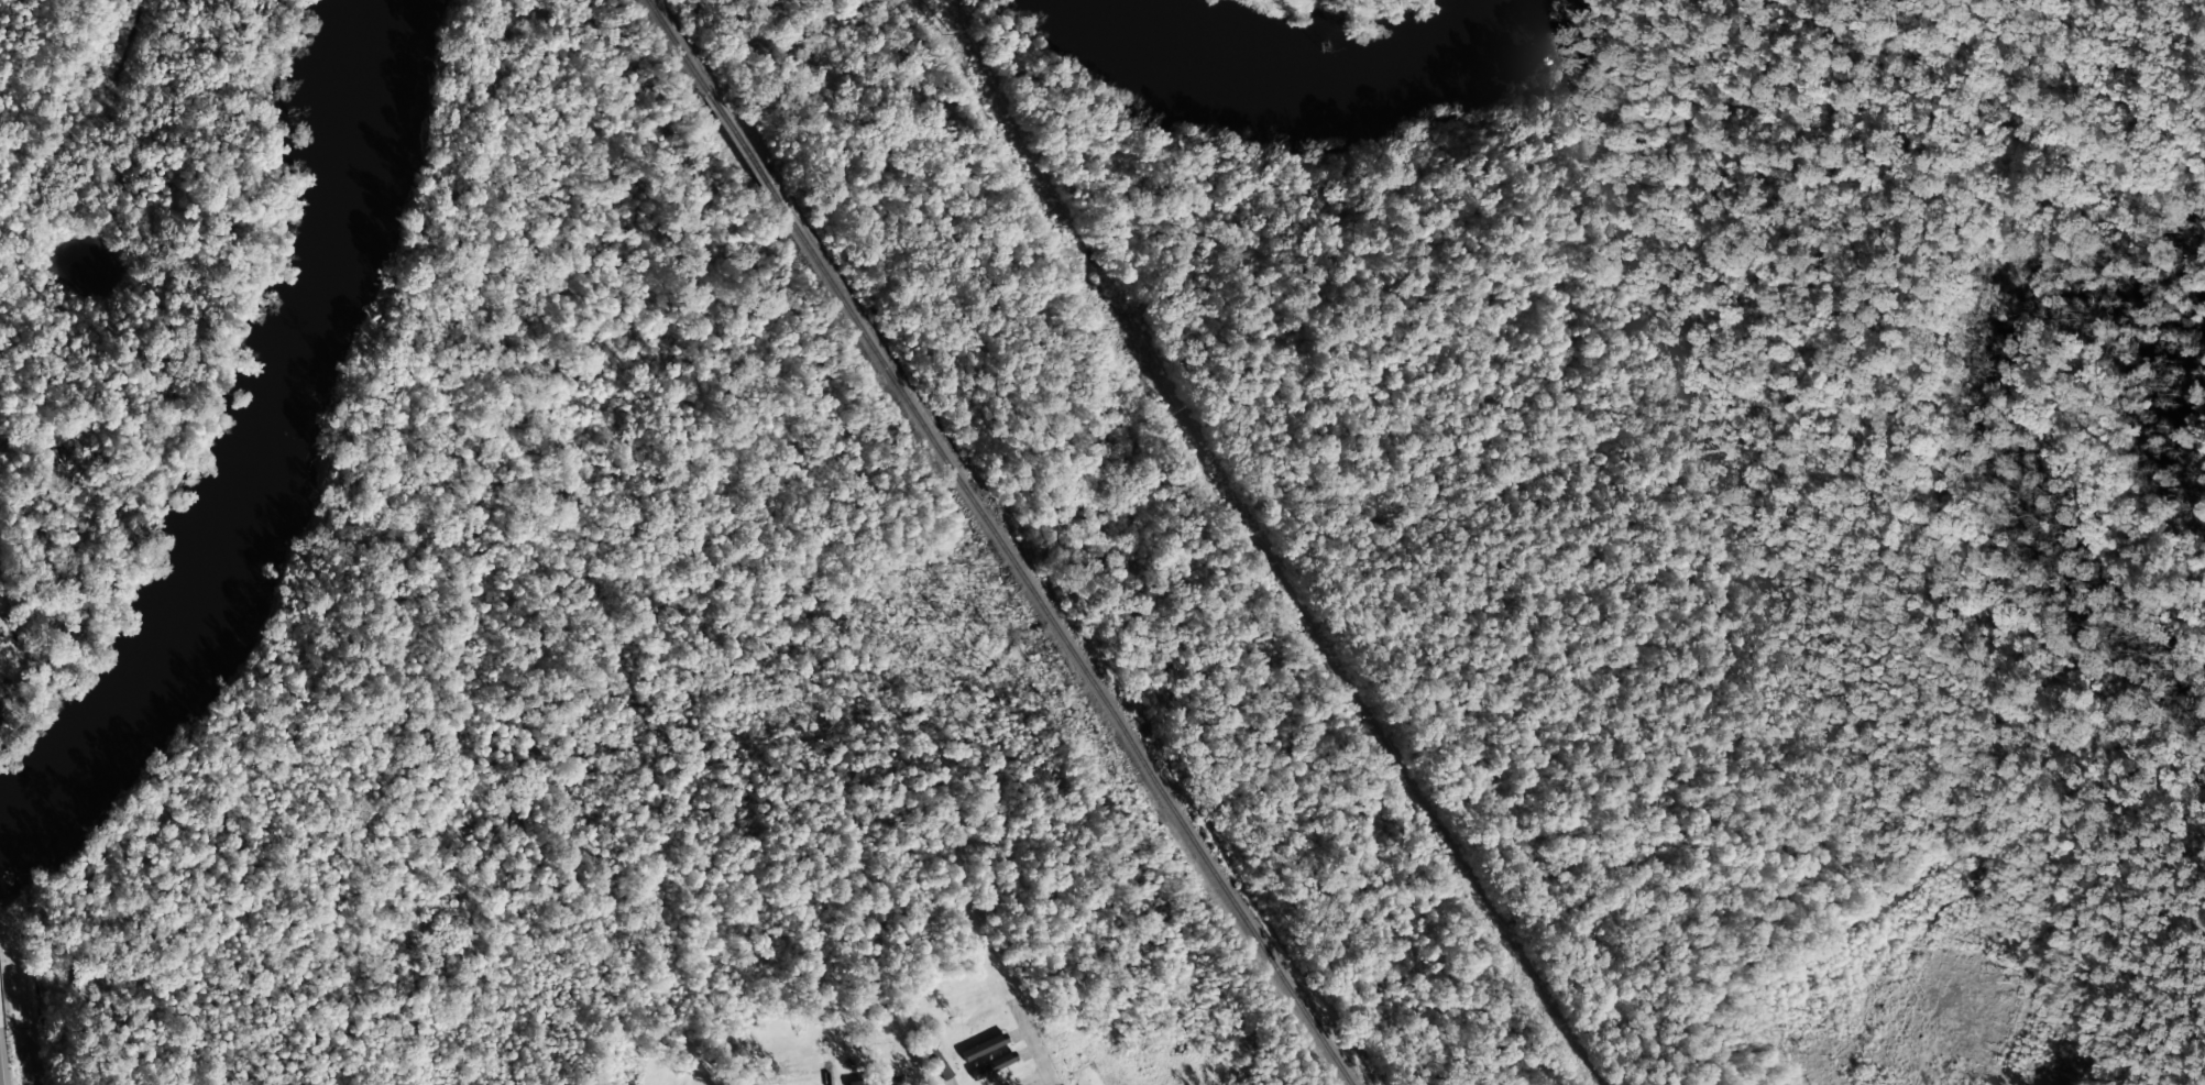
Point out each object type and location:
power tower: (946, 34)
river: (1310, 85)
power tower: (1064, 224)
power tower: (1178, 410)
river: (253, 454)
railway: (999, 541)
road: (1033, 1043)
road: (826, 1072)
road: (1035, 1079)
building: (876, 1082)

